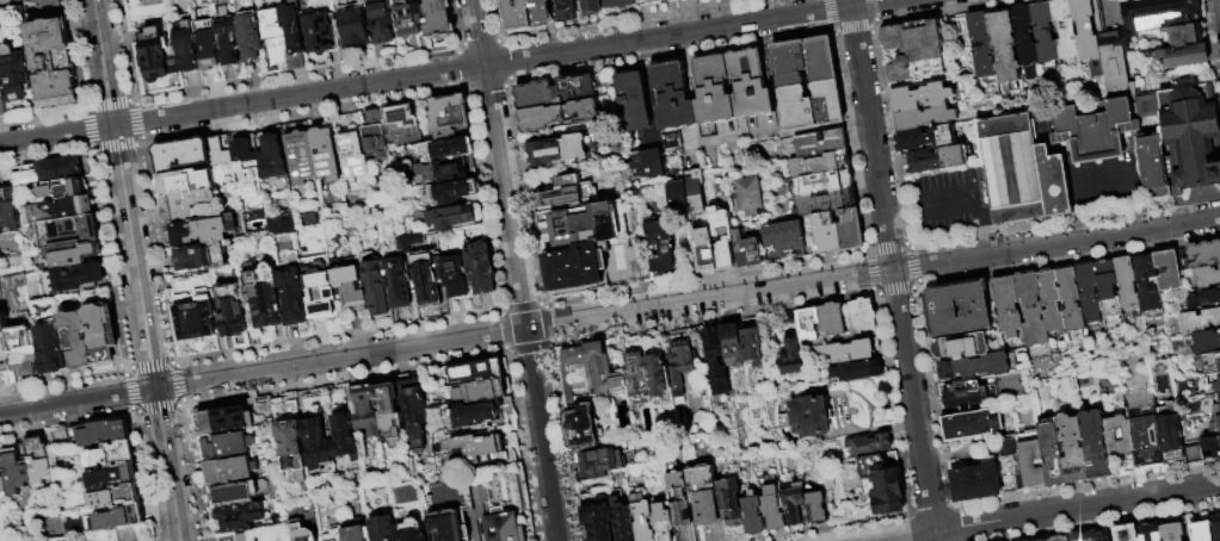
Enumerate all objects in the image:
building: (14, 0)
building: (697, 0)
building: (719, 0)
building: (45, 2)
building: (652, 2)
building: (618, 4)
building: (590, 7)
building: (563, 10)
building: (515, 13)
building: (540, 13)
building: (1158, 14)
building: (407, 18)
building: (437, 19)
building: (381, 20)
building: (271, 24)
building: (1065, 29)
building: (350, 30)
building: (1085, 30)
building: (247, 32)
building: (306, 32)
building: (1045, 32)
building: (1185, 36)
building: (226, 38)
building: (1025, 41)
building: (207, 44)
building: (185, 45)
building: (981, 45)
building: (1004, 49)
building: (913, 51)
building: (154, 55)
building: (1185, 56)
building: (51, 63)
building: (805, 63)
building: (1114, 66)
road: (445, 71)
building: (16, 74)
building: (1, 81)
building: (751, 86)
building: (714, 92)
building: (556, 94)
building: (1, 95)
building: (674, 99)
building: (919, 99)
building: (634, 104)
building: (812, 108)
building: (445, 114)
building: (560, 117)
building: (924, 119)
building: (399, 124)
building: (1095, 132)
building: (372, 135)
building: (1191, 136)
building: (671, 138)
building: (925, 138)
building: (820, 147)
building: (439, 148)
building: (350, 149)
building: (220, 150)
building: (180, 154)
building: (324, 154)
building: (557, 154)
building: (298, 157)
building: (258, 160)
building: (937, 160)
building: (646, 167)
building: (820, 167)
building: (443, 170)
building: (1152, 170)
building: (47, 172)
building: (1021, 172)
parking lot: (1107, 181)
building: (179, 182)
road: (1132, 182)
building: (824, 186)
building: (61, 188)
road: (1078, 191)
building: (452, 192)
building: (696, 194)
building: (567, 197)
building: (748, 199)
road: (963, 200)
building: (678, 201)
parking lot: (949, 201)
building: (186, 205)
building: (827, 205)
building: (7, 209)
building: (57, 210)
road: (900, 212)
road: (1138, 214)
building: (457, 216)
building: (279, 223)
road: (1083, 223)
building: (589, 229)
building: (202, 230)
building: (68, 231)
building: (0, 232)
building: (850, 232)
building: (827, 236)
building: (784, 238)
building: (722, 240)
road: (986, 243)
building: (661, 249)
building: (705, 253)
building: (747, 253)
building: (72, 255)
building: (201, 256)
building: (1203, 263)
building: (479, 268)
road: (136, 269)
road: (893, 269)
road: (517, 270)
building: (577, 270)
building: (1167, 270)
building: (454, 276)
building: (75, 278)
building: (396, 282)
building: (425, 282)
building: (1126, 284)
building: (1147, 284)
building: (350, 286)
building: (375, 287)
building: (319, 288)
building: (1107, 290)
building: (264, 294)
building: (1089, 294)
building: (292, 296)
building: (1070, 299)
building: (1203, 299)
building: (1050, 303)
building: (1006, 306)
building: (941, 310)
building: (1031, 310)
building: (230, 312)
road: (610, 313)
building: (193, 316)
building: (861, 317)
building: (789, 318)
building: (831, 318)
building: (1199, 321)
building: (807, 322)
building: (101, 332)
building: (75, 338)
building: (1206, 342)
building: (49, 344)
building: (732, 344)
building: (751, 346)
building: (5, 347)
building: (959, 347)
building: (21, 350)
building: (846, 350)
building: (789, 356)
building: (715, 361)
building: (1218, 363)
building: (680, 365)
building: (974, 366)
building: (584, 367)
building: (475, 371)
building: (855, 371)
building: (657, 375)
building: (637, 381)
building: (616, 383)
building: (482, 390)
building: (1210, 390)
building: (961, 394)
building: (389, 409)
building: (1165, 409)
building: (365, 410)
building: (414, 410)
building: (480, 417)
building: (808, 417)
building: (1219, 417)
building: (223, 421)
building: (580, 425)
building: (969, 425)
building: (100, 435)
building: (1170, 435)
building: (345, 437)
building: (1110, 437)
building: (1147, 441)
building: (316, 443)
building: (869, 444)
building: (224, 446)
building: (1095, 446)
building: (1206, 447)
building: (291, 448)
building: (483, 448)
building: (1072, 448)
building: (1052, 452)
building: (111, 456)
building: (600, 461)
building: (1022, 462)
building: (39, 464)
building: (230, 471)
building: (16, 474)
building: (116, 478)
building: (2, 483)
building: (975, 483)
building: (882, 484)
building: (238, 493)
building: (702, 495)
building: (118, 498)
building: (678, 499)
building: (729, 502)
building: (794, 504)
building: (817, 506)
building: (774, 508)
road: (1077, 509)
building: (752, 514)
building: (252, 515)
building: (597, 516)
building: (641, 517)
building: (121, 520)
building: (497, 520)
building: (622, 521)
building: (661, 522)
building: (449, 527)
building: (1215, 528)
building: (383, 529)
building: (357, 530)
building: (412, 530)
building: (1172, 531)
building: (1200, 531)
building: (303, 533)
building: (1123, 533)
building: (1148, 533)
building: (337, 535)
building: (1099, 535)
road: (905, 536)
building: (1080, 536)
building: (227, 537)
building: (242, 537)
building: (1059, 539)
building: (1025, 540)

